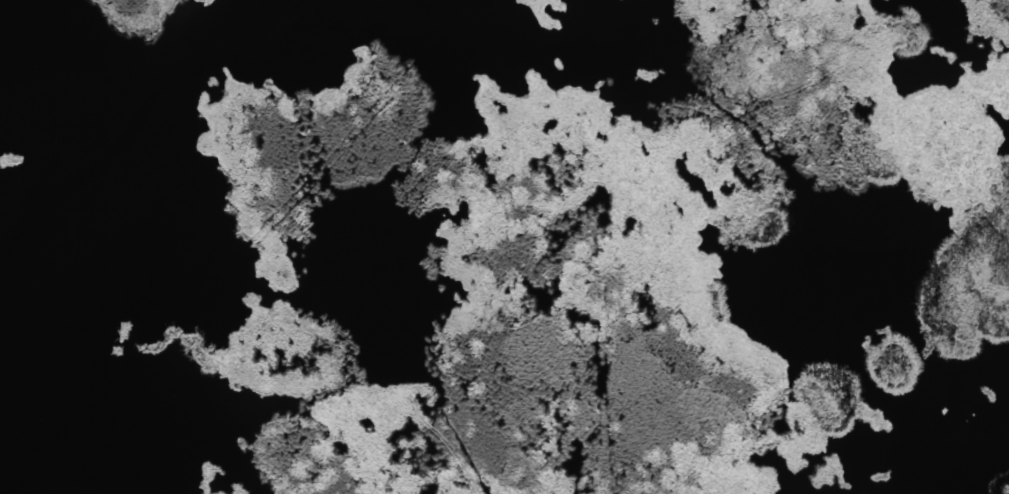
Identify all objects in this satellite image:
park: (812, 246)

